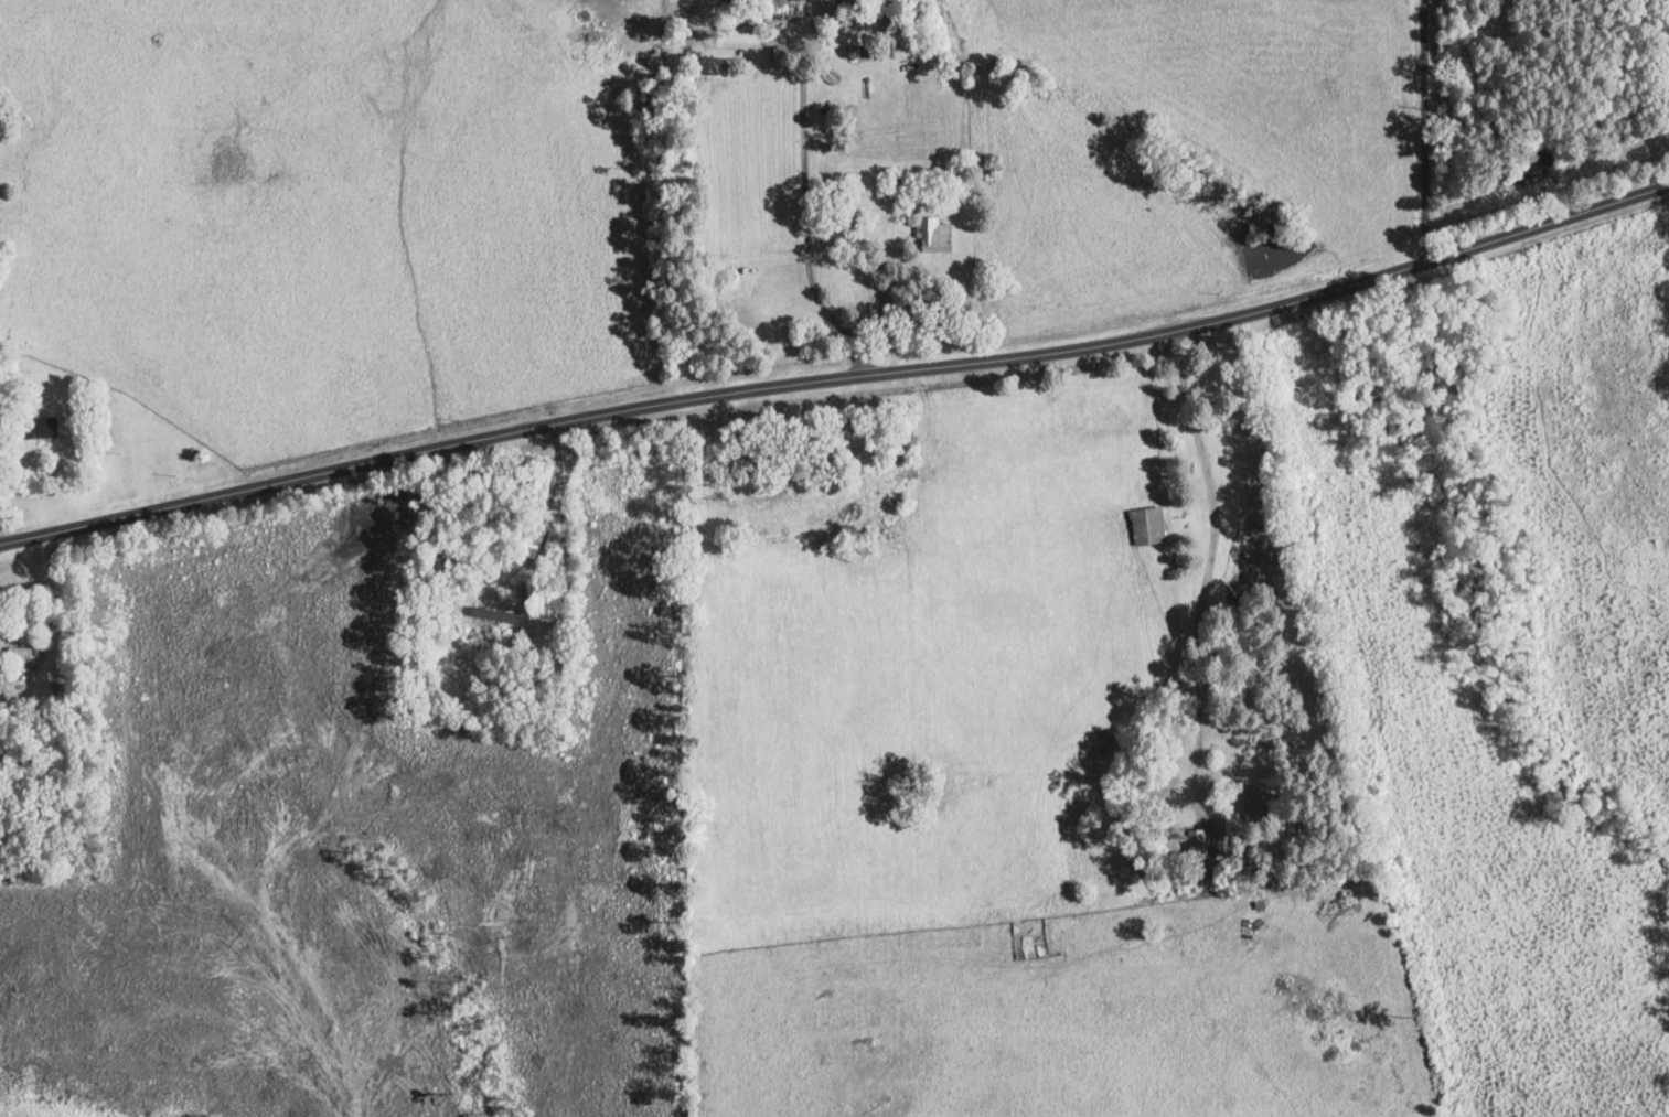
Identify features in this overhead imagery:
building: (906, 35)
road: (727, 44)
building: (860, 53)
road: (1423, 127)
building: (985, 170)
road: (804, 186)
building: (935, 237)
road: (836, 368)
building: (40, 429)
road: (561, 503)
building: (1147, 526)
road: (1209, 556)
building: (481, 614)
building: (535, 646)
building: (23, 653)
building: (1261, 802)
building: (1221, 858)
building: (1031, 938)

